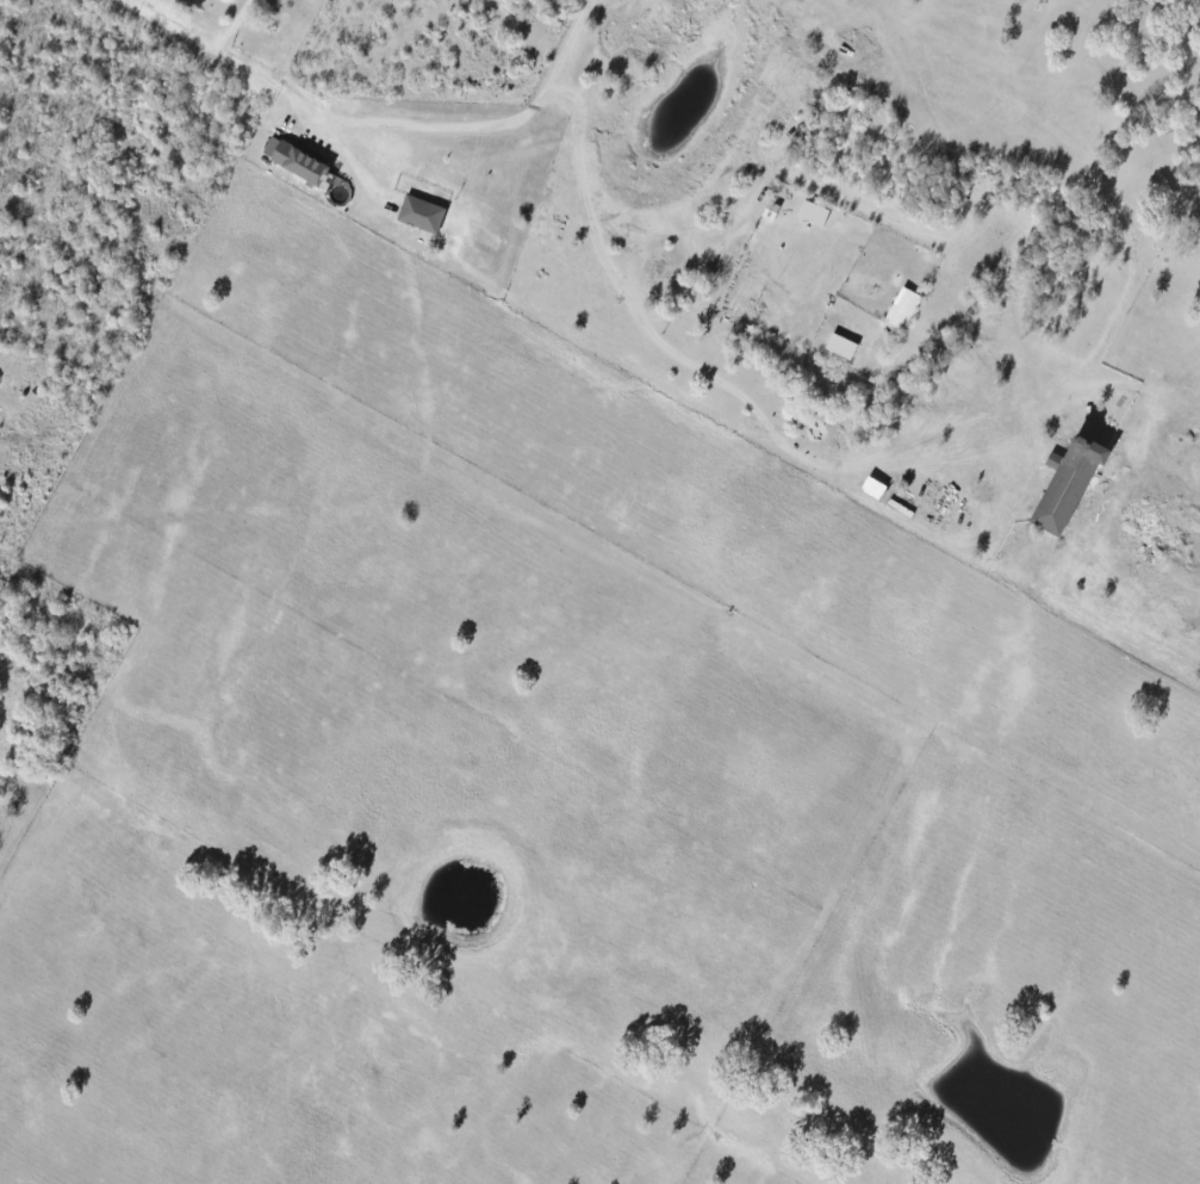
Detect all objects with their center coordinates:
building: (294, 159)
road: (580, 182)
building: (813, 212)
building: (421, 213)
building: (903, 306)
building: (840, 346)
building: (1064, 485)
building: (872, 488)

